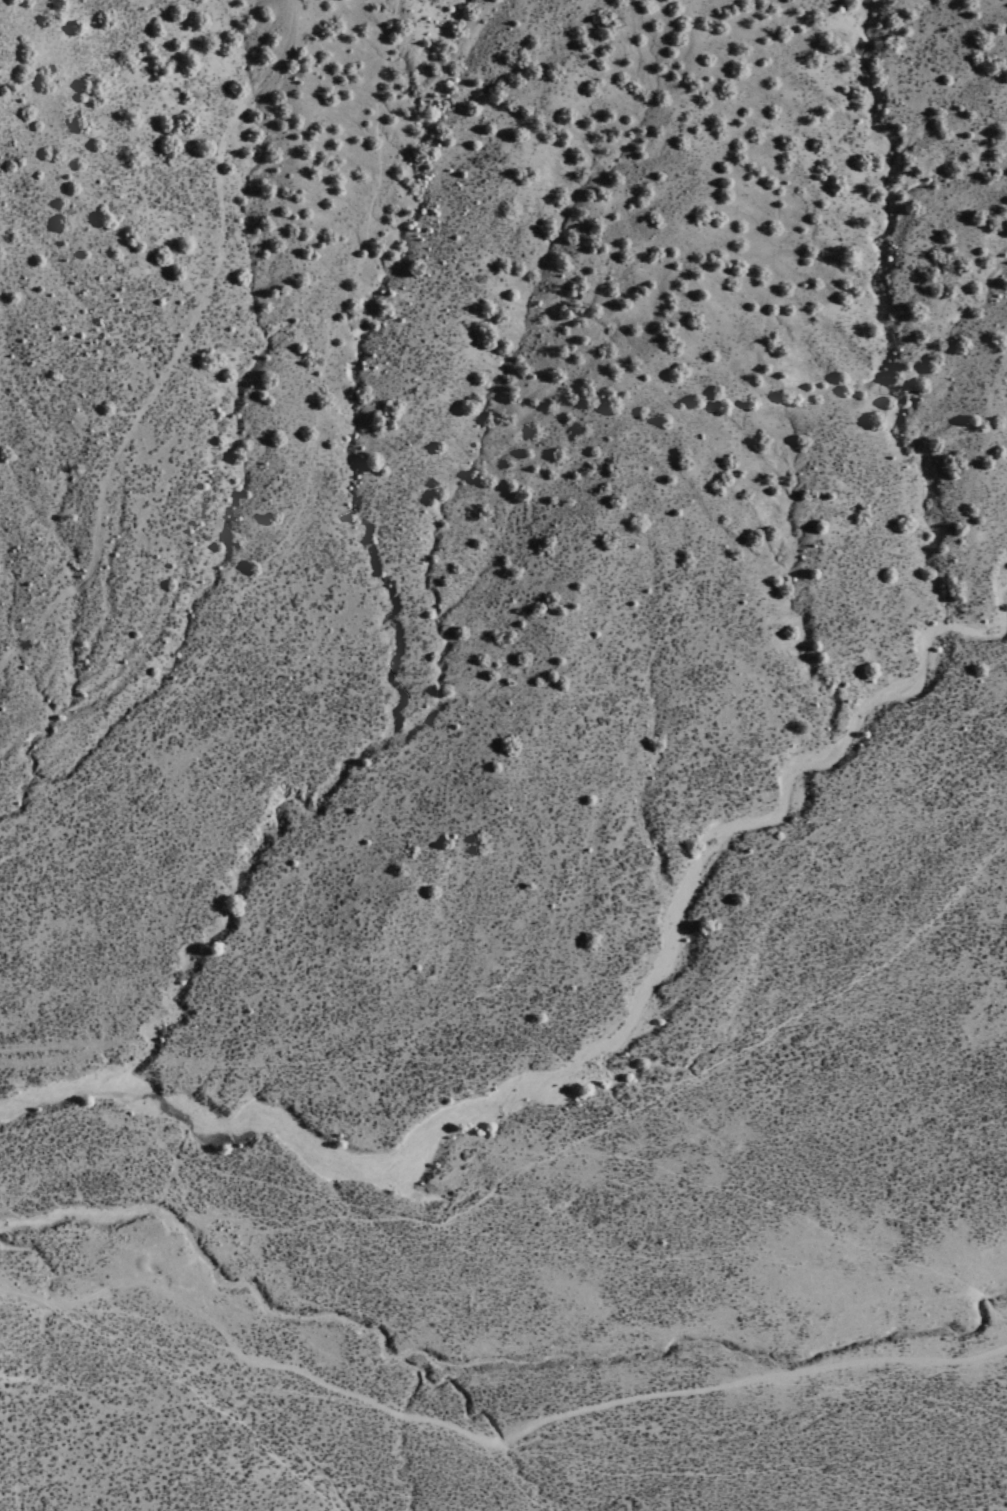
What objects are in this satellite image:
road: (175, 346)
crop: (207, 1109)
road: (144, 1387)
road: (488, 1441)

